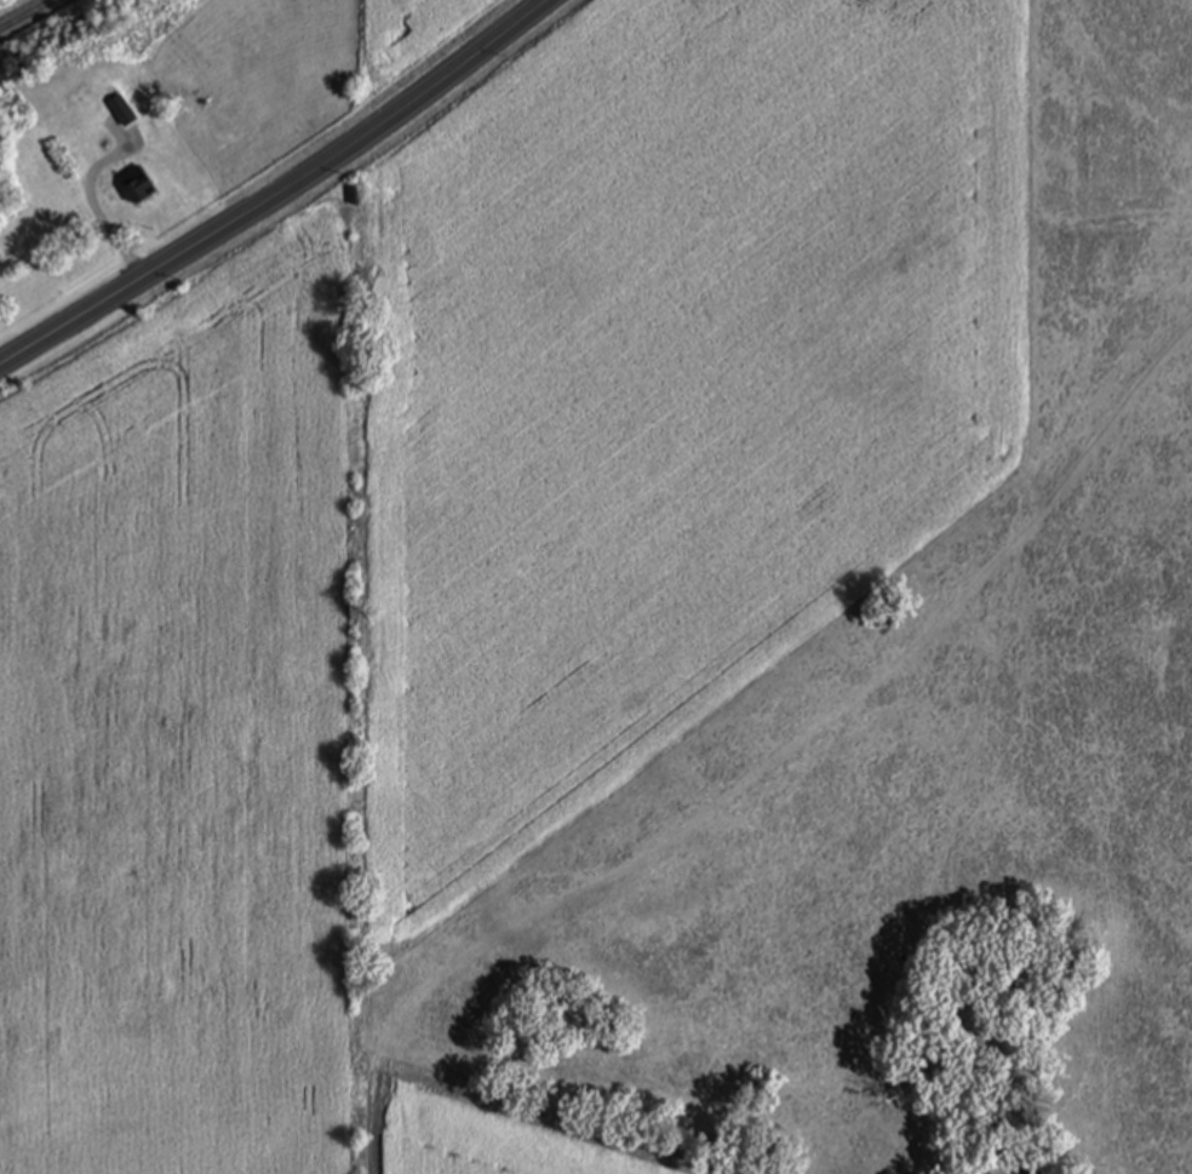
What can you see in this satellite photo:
railway: (25, 15)
building: (125, 111)
building: (141, 187)
road: (280, 194)
road: (96, 208)

